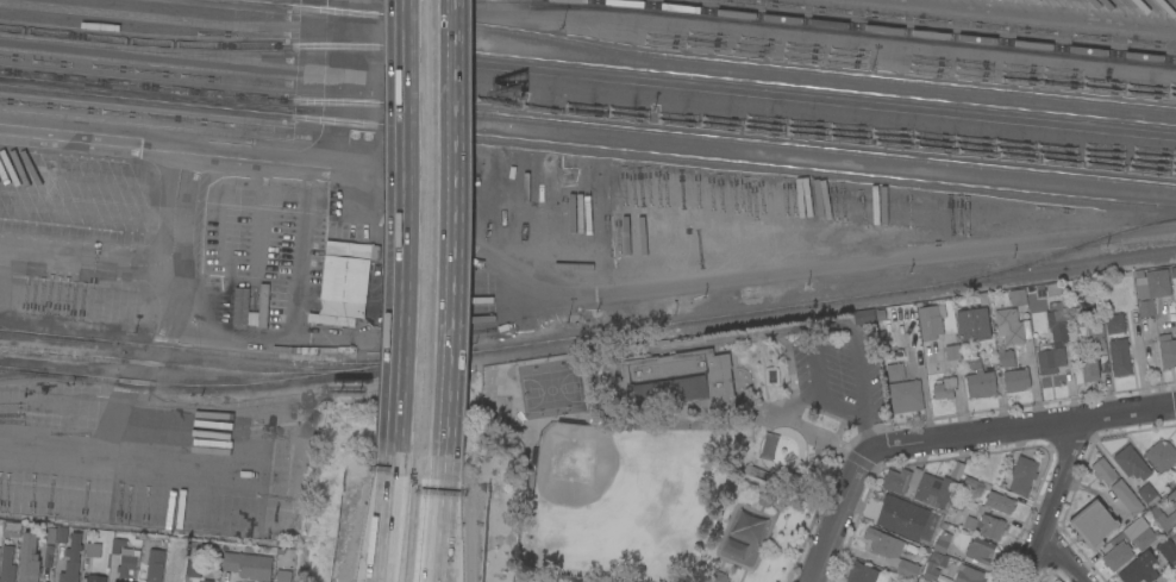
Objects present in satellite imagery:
railway: (884, 29)
railway: (698, 58)
railway: (588, 64)
railway: (588, 124)
railway: (587, 146)
road: (404, 205)
road: (444, 206)
railway: (1055, 270)
building: (345, 277)
building: (1151, 288)
building: (1049, 289)
building: (1017, 296)
building: (240, 305)
building: (263, 306)
building: (864, 315)
building: (1175, 318)
building: (930, 321)
building: (1115, 323)
building: (974, 324)
road: (818, 326)
building: (1009, 326)
building: (1093, 331)
railway: (24, 332)
railway: (592, 336)
building: (1053, 340)
building: (952, 351)
building: (1168, 351)
building: (1120, 356)
building: (1006, 358)
building: (1091, 364)
railway: (183, 367)
building: (895, 371)
parking lot: (843, 373)
railway: (46, 375)
building: (978, 377)
building: (1017, 380)
building: (675, 382)
railway: (215, 387)
building: (944, 387)
park: (550, 389)
building: (906, 396)
road: (719, 420)
road: (1022, 430)
road: (808, 431)
road: (395, 437)
road: (870, 437)
park: (689, 448)
building: (1162, 455)
building: (1131, 463)
building: (1175, 467)
building: (1103, 470)
building: (1022, 475)
building: (896, 480)
building: (933, 489)
park: (594, 490)
building: (1147, 494)
building: (765, 496)
building: (1126, 496)
road: (437, 497)
building: (1172, 497)
building: (1000, 502)
road: (1053, 503)
road: (838, 515)
building: (903, 517)
building: (1163, 518)
road: (382, 524)
road: (389, 524)
building: (1093, 524)
building: (0, 525)
building: (987, 525)
building: (11, 528)
building: (1172, 532)
building: (50, 534)
building: (1144, 538)
building: (942, 540)
building: (117, 543)
building: (883, 543)
building: (0, 549)
building: (93, 549)
building: (980, 550)
building: (1166, 550)
building: (1116, 556)
building: (29, 558)
road: (1062, 558)
building: (71, 559)
building: (127, 561)
building: (7, 564)
building: (248, 564)
building: (155, 565)
building: (194, 568)
building: (907, 569)
building: (1137, 570)
building: (930, 572)
building: (863, 574)
building: (969, 574)
building: (283, 575)
building: (718, 576)
building: (96, 577)
building: (207, 580)
building: (1174, 580)
building: (115, 581)
building: (606, 581)

